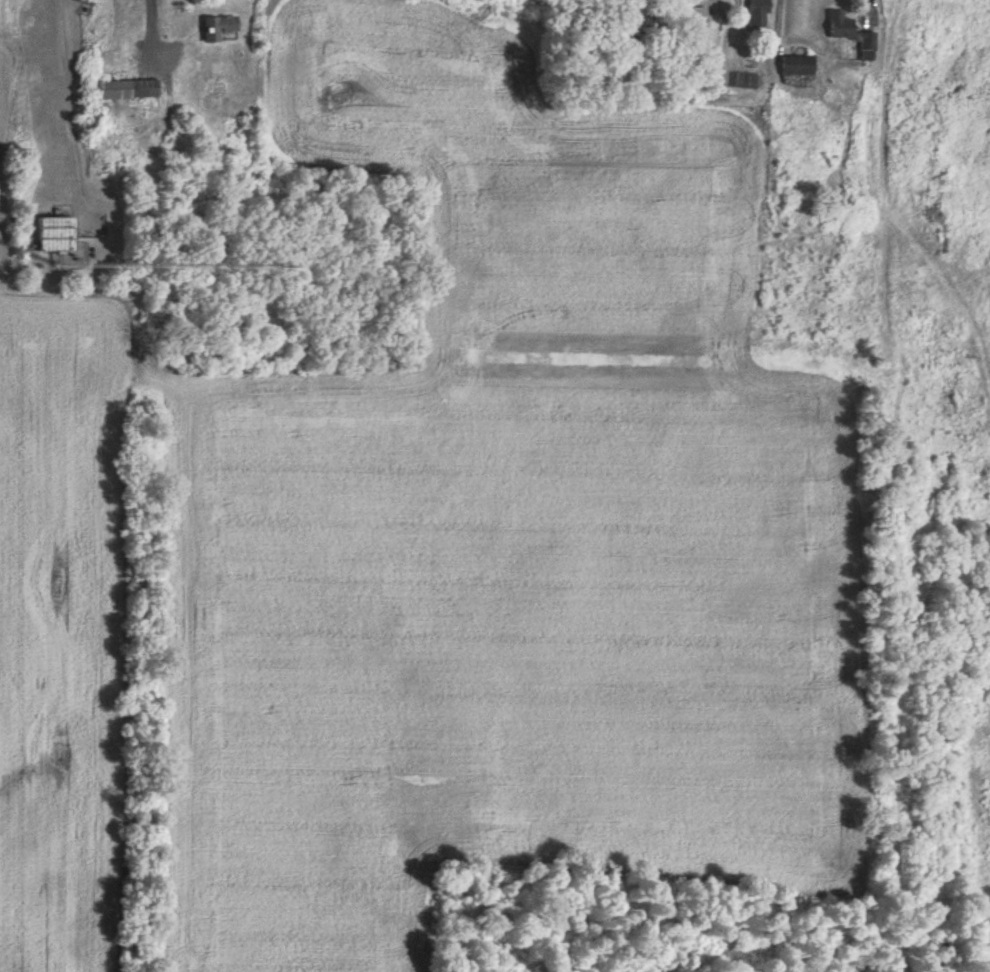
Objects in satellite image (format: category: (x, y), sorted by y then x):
building: (758, 12)
building: (214, 27)
building: (850, 33)
building: (798, 65)
building: (128, 90)
road: (75, 107)
road: (984, 167)
building: (837, 203)
building: (51, 233)
road: (983, 332)
road: (985, 344)
road: (977, 352)
road: (919, 397)
road: (951, 417)

